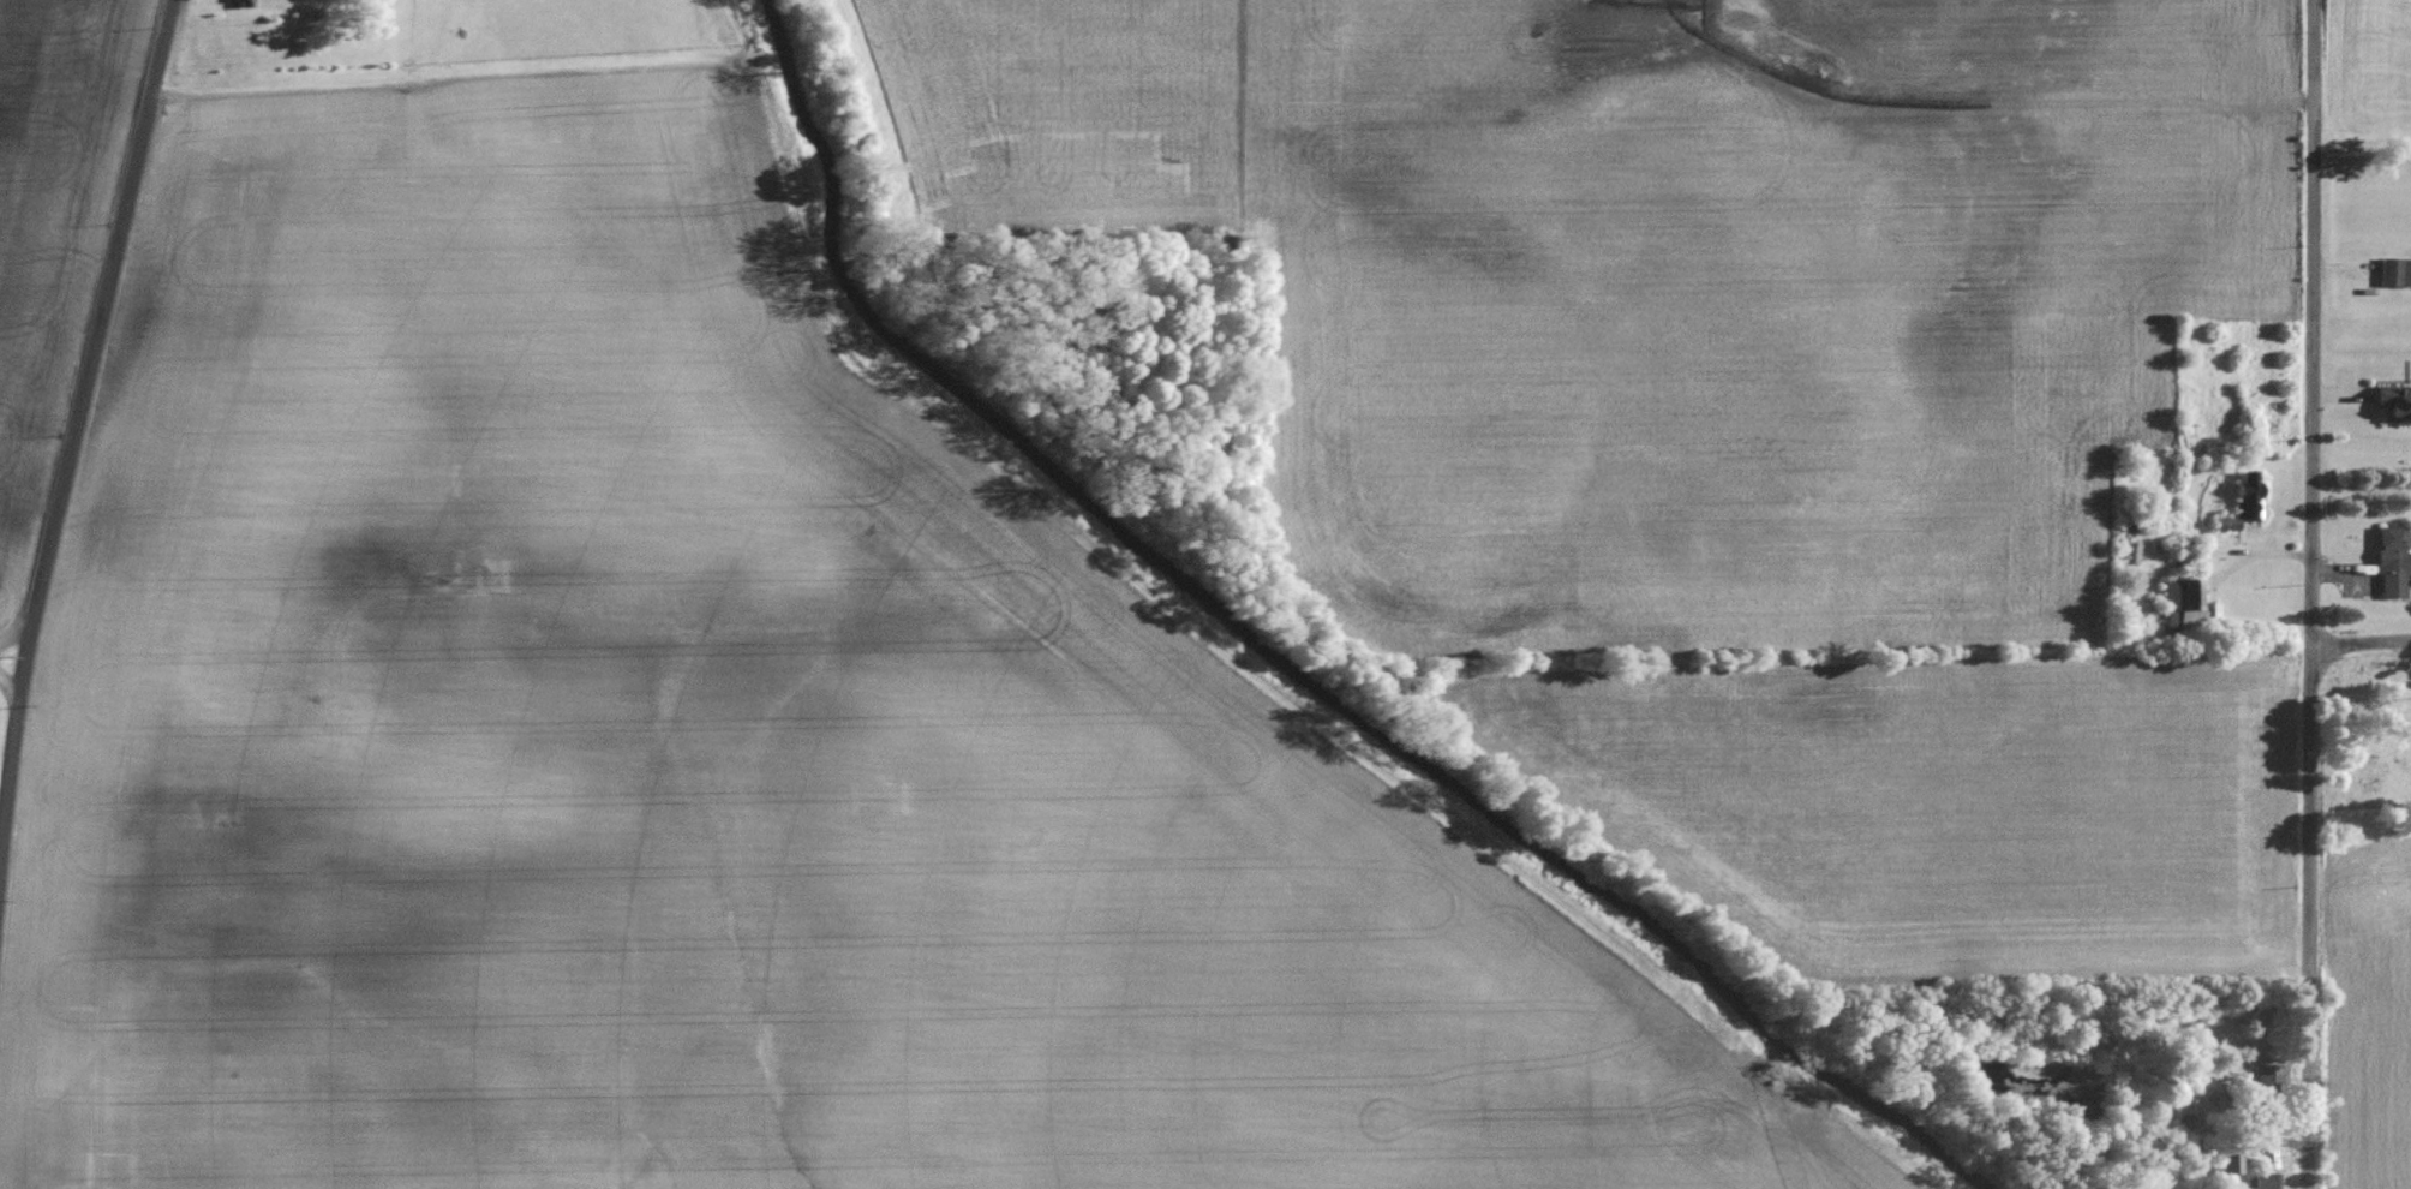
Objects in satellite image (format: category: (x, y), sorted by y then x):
building: (2393, 271)
road: (77, 405)
building: (2393, 405)
building: (2247, 491)
building: (2389, 562)
road: (2309, 593)
building: (2178, 607)
road: (2359, 645)
road: (7, 665)
building: (2262, 1074)
building: (2226, 1158)
building: (2261, 1179)

